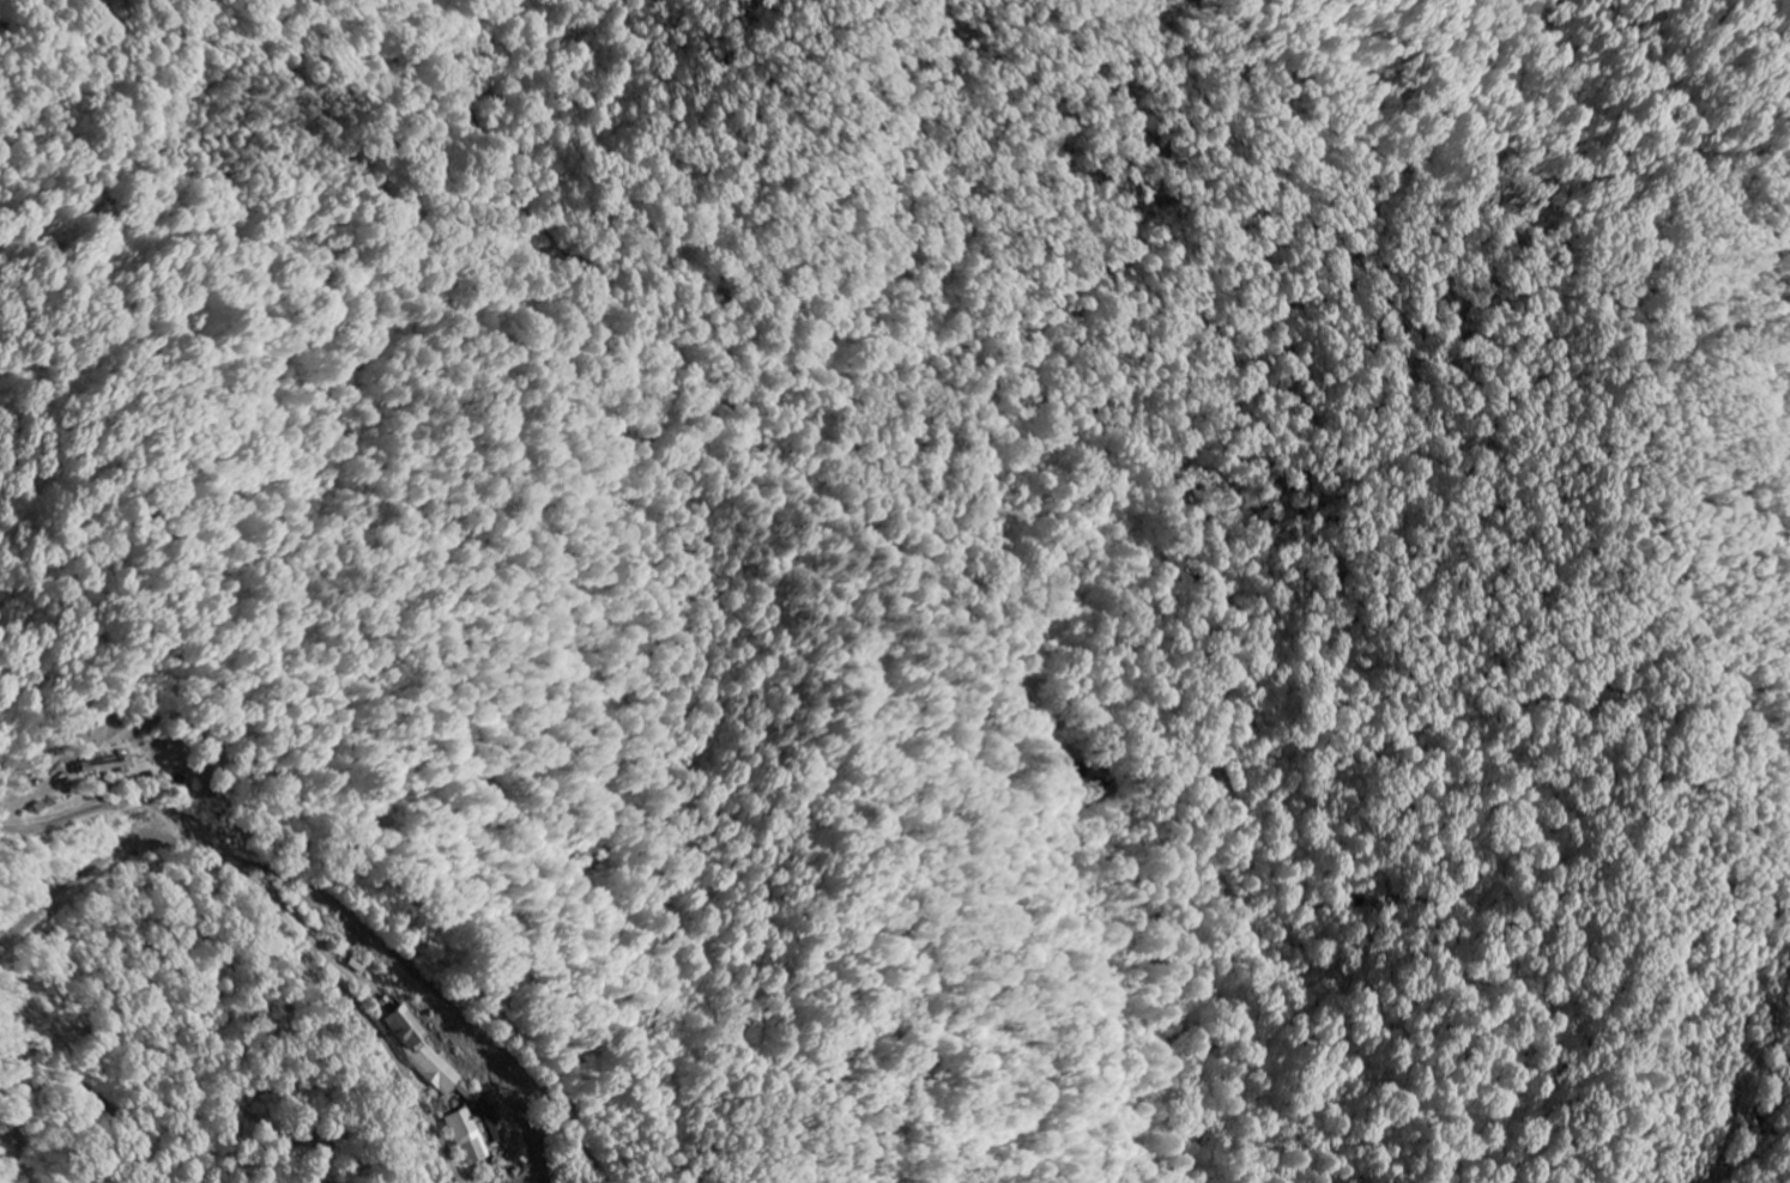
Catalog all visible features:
building: (101, 765)
road: (189, 845)
building: (417, 1048)
road: (101, 1093)
building: (465, 1137)

